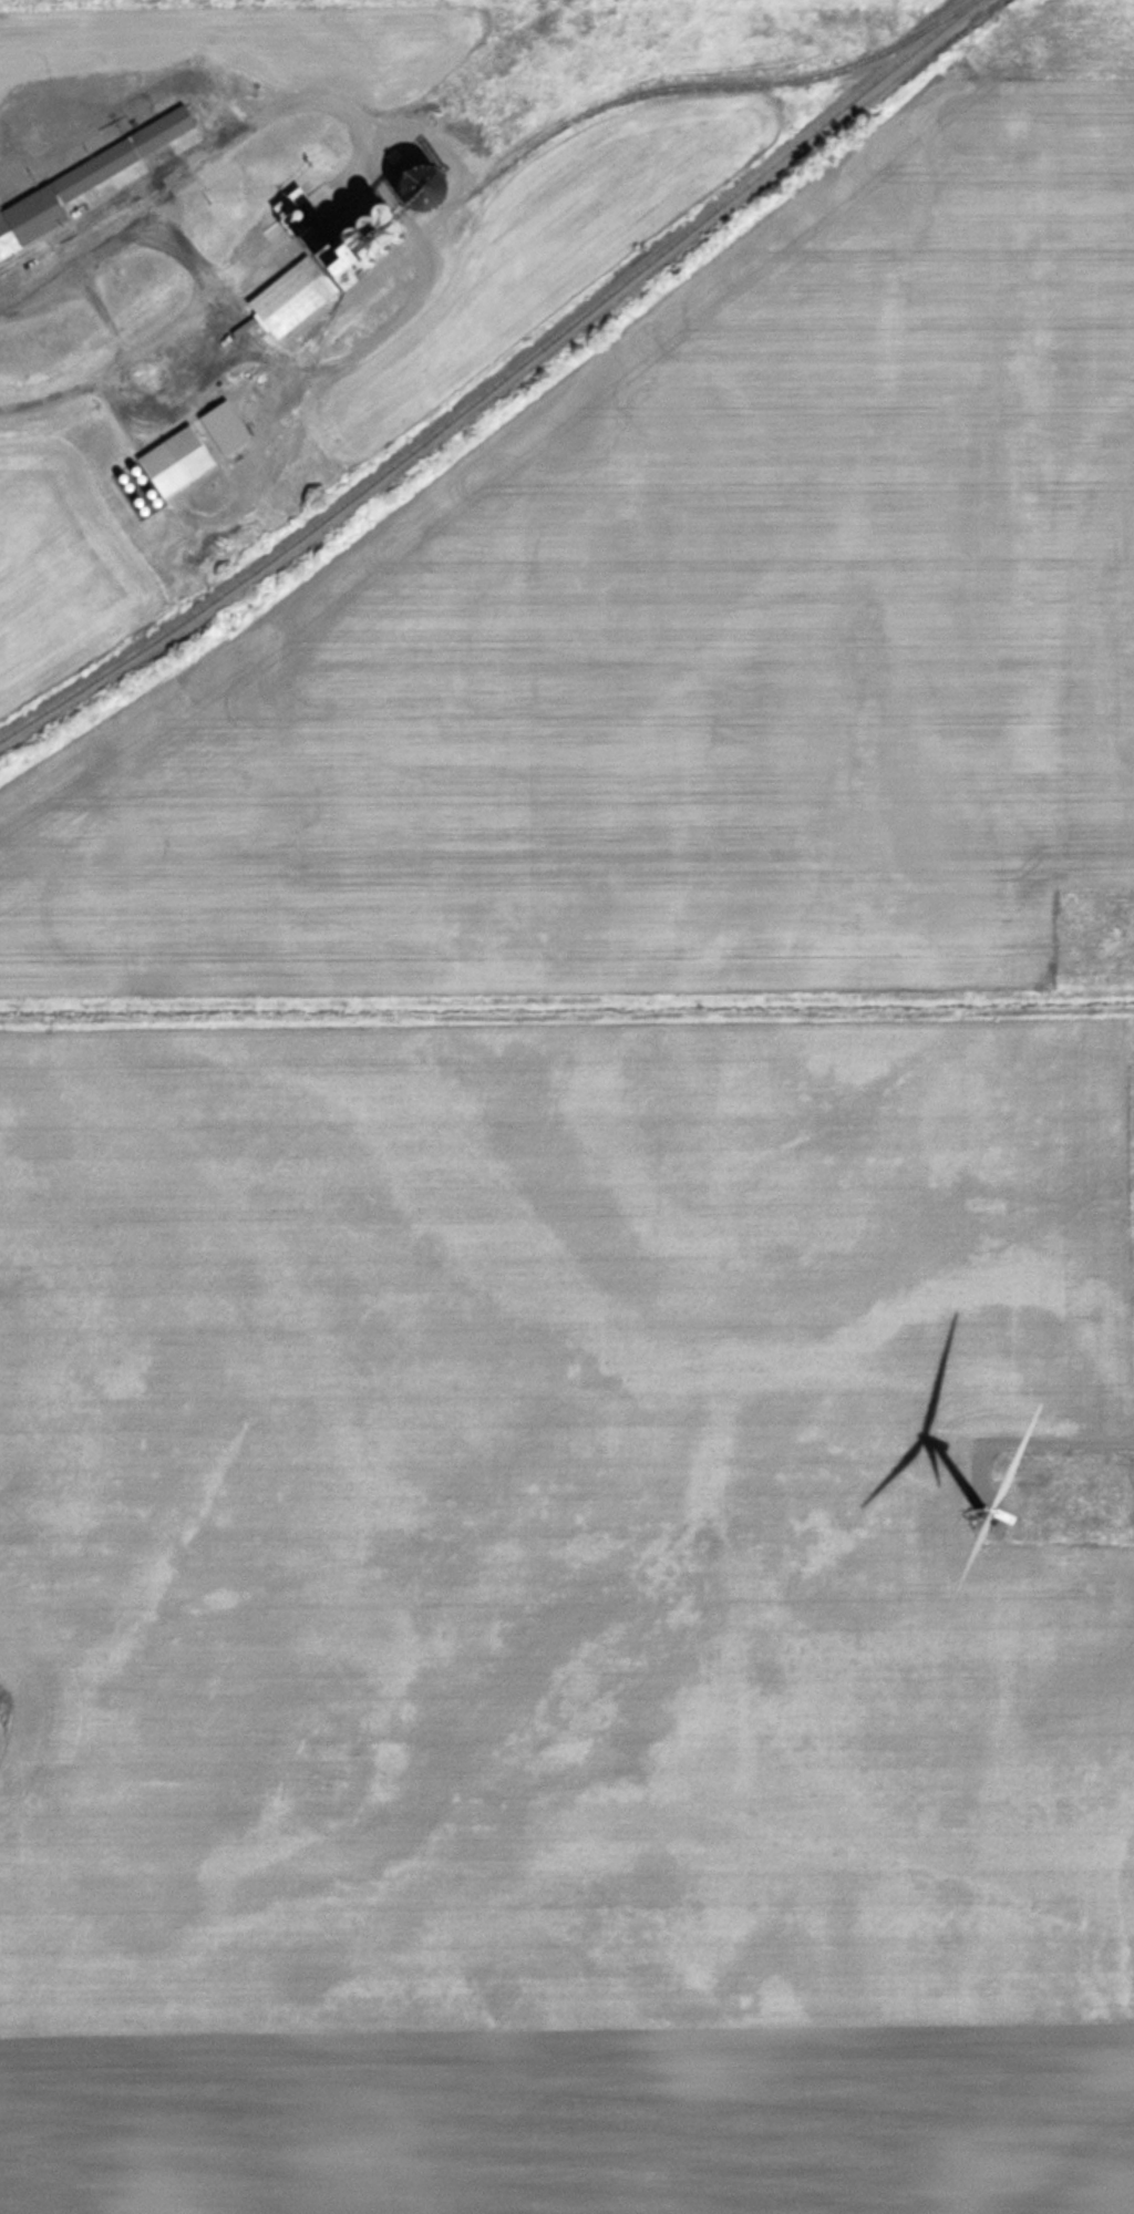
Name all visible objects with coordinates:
railway: (570, 121)
building: (83, 182)
building: (344, 257)
railway: (498, 383)
building: (226, 426)
building: (177, 460)
road: (1087, 1427)
wind turbine: (986, 1505)

